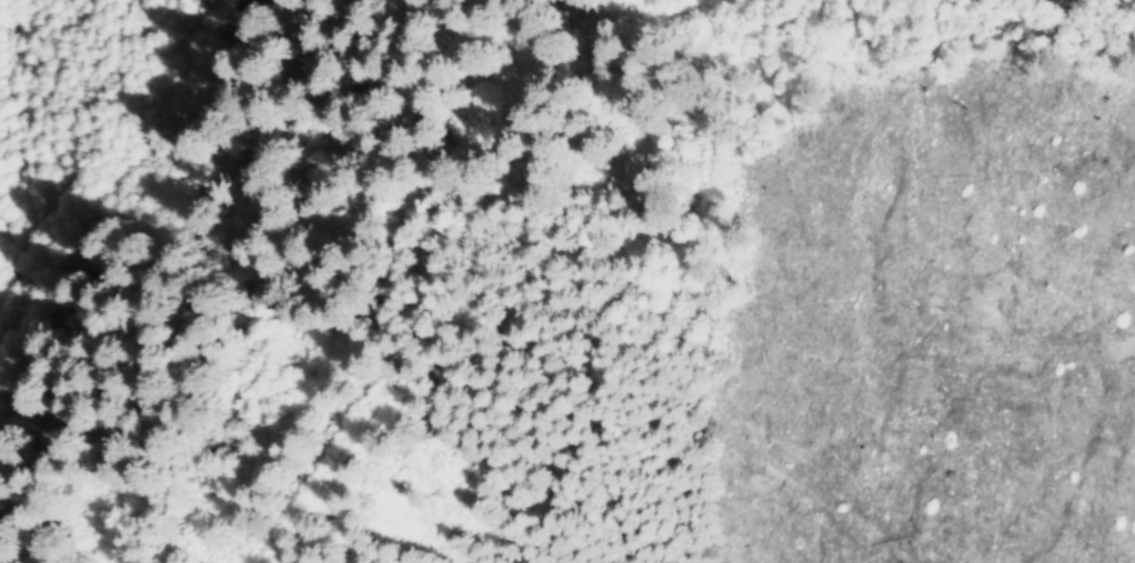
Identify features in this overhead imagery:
road: (120, 182)
road: (269, 519)

